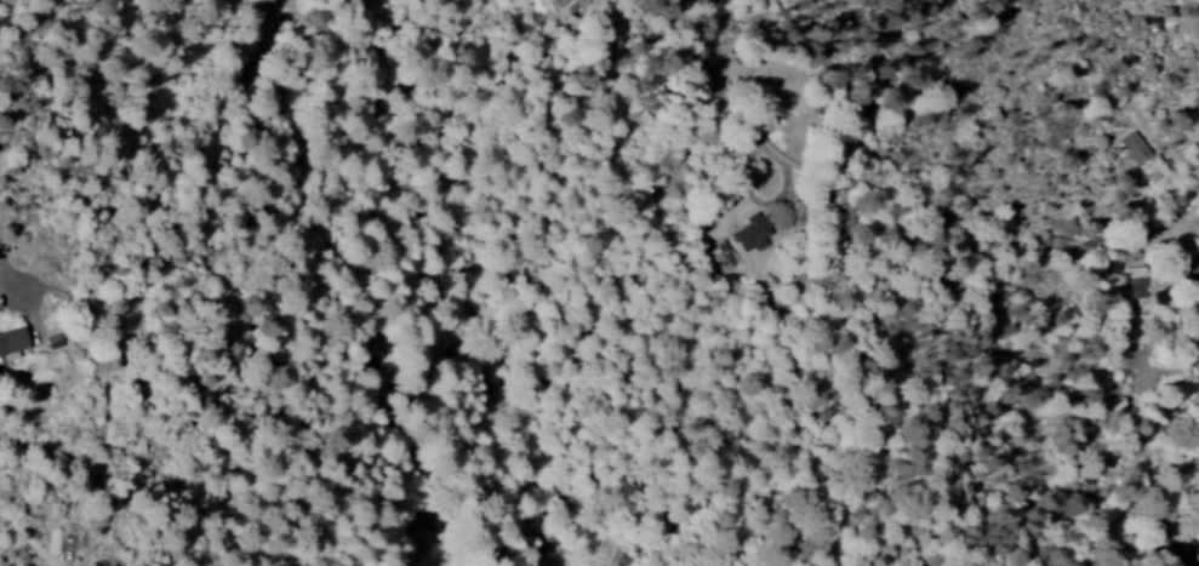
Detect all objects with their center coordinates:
building: (553, 0)
building: (1131, 148)
building: (749, 233)
building: (720, 257)
road: (921, 275)
building: (1134, 281)
building: (10, 343)

